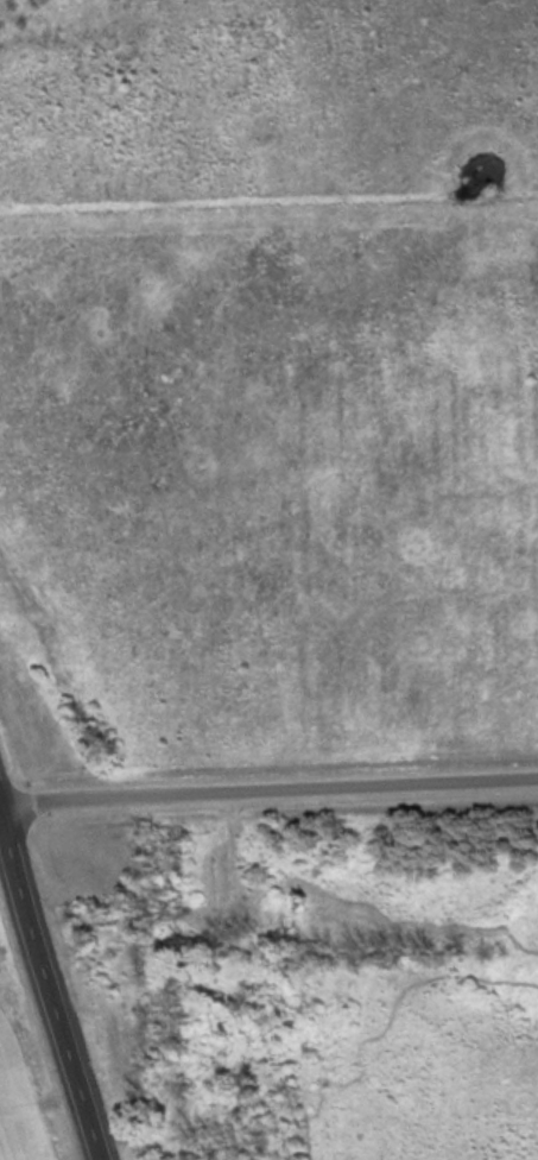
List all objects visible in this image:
road: (268, 786)
road: (51, 978)

